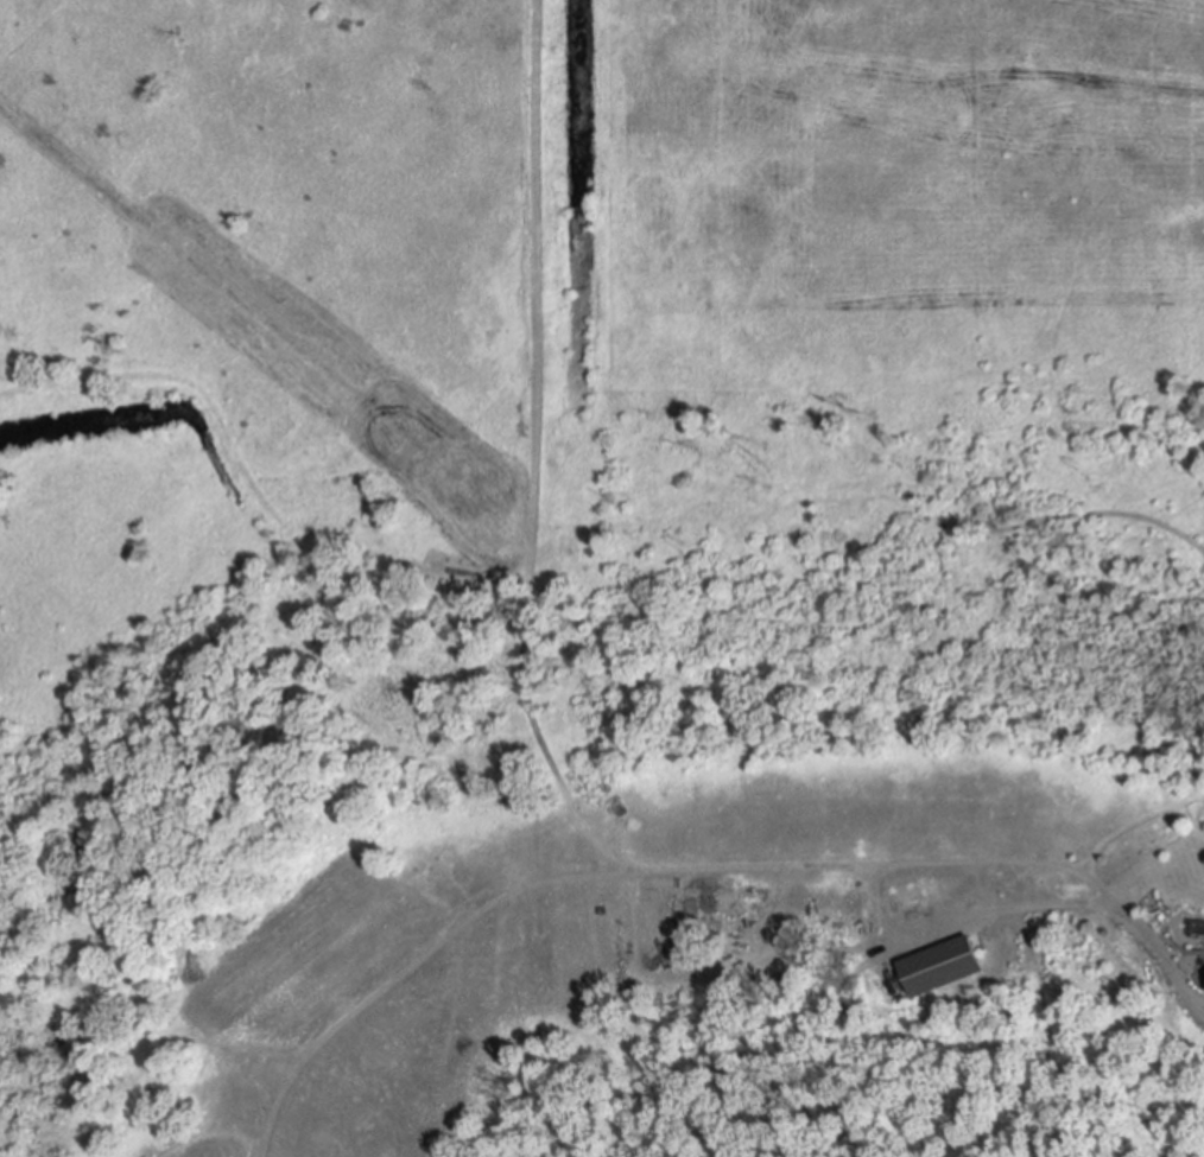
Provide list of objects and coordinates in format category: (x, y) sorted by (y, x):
road: (1122, 916)
building: (940, 967)

